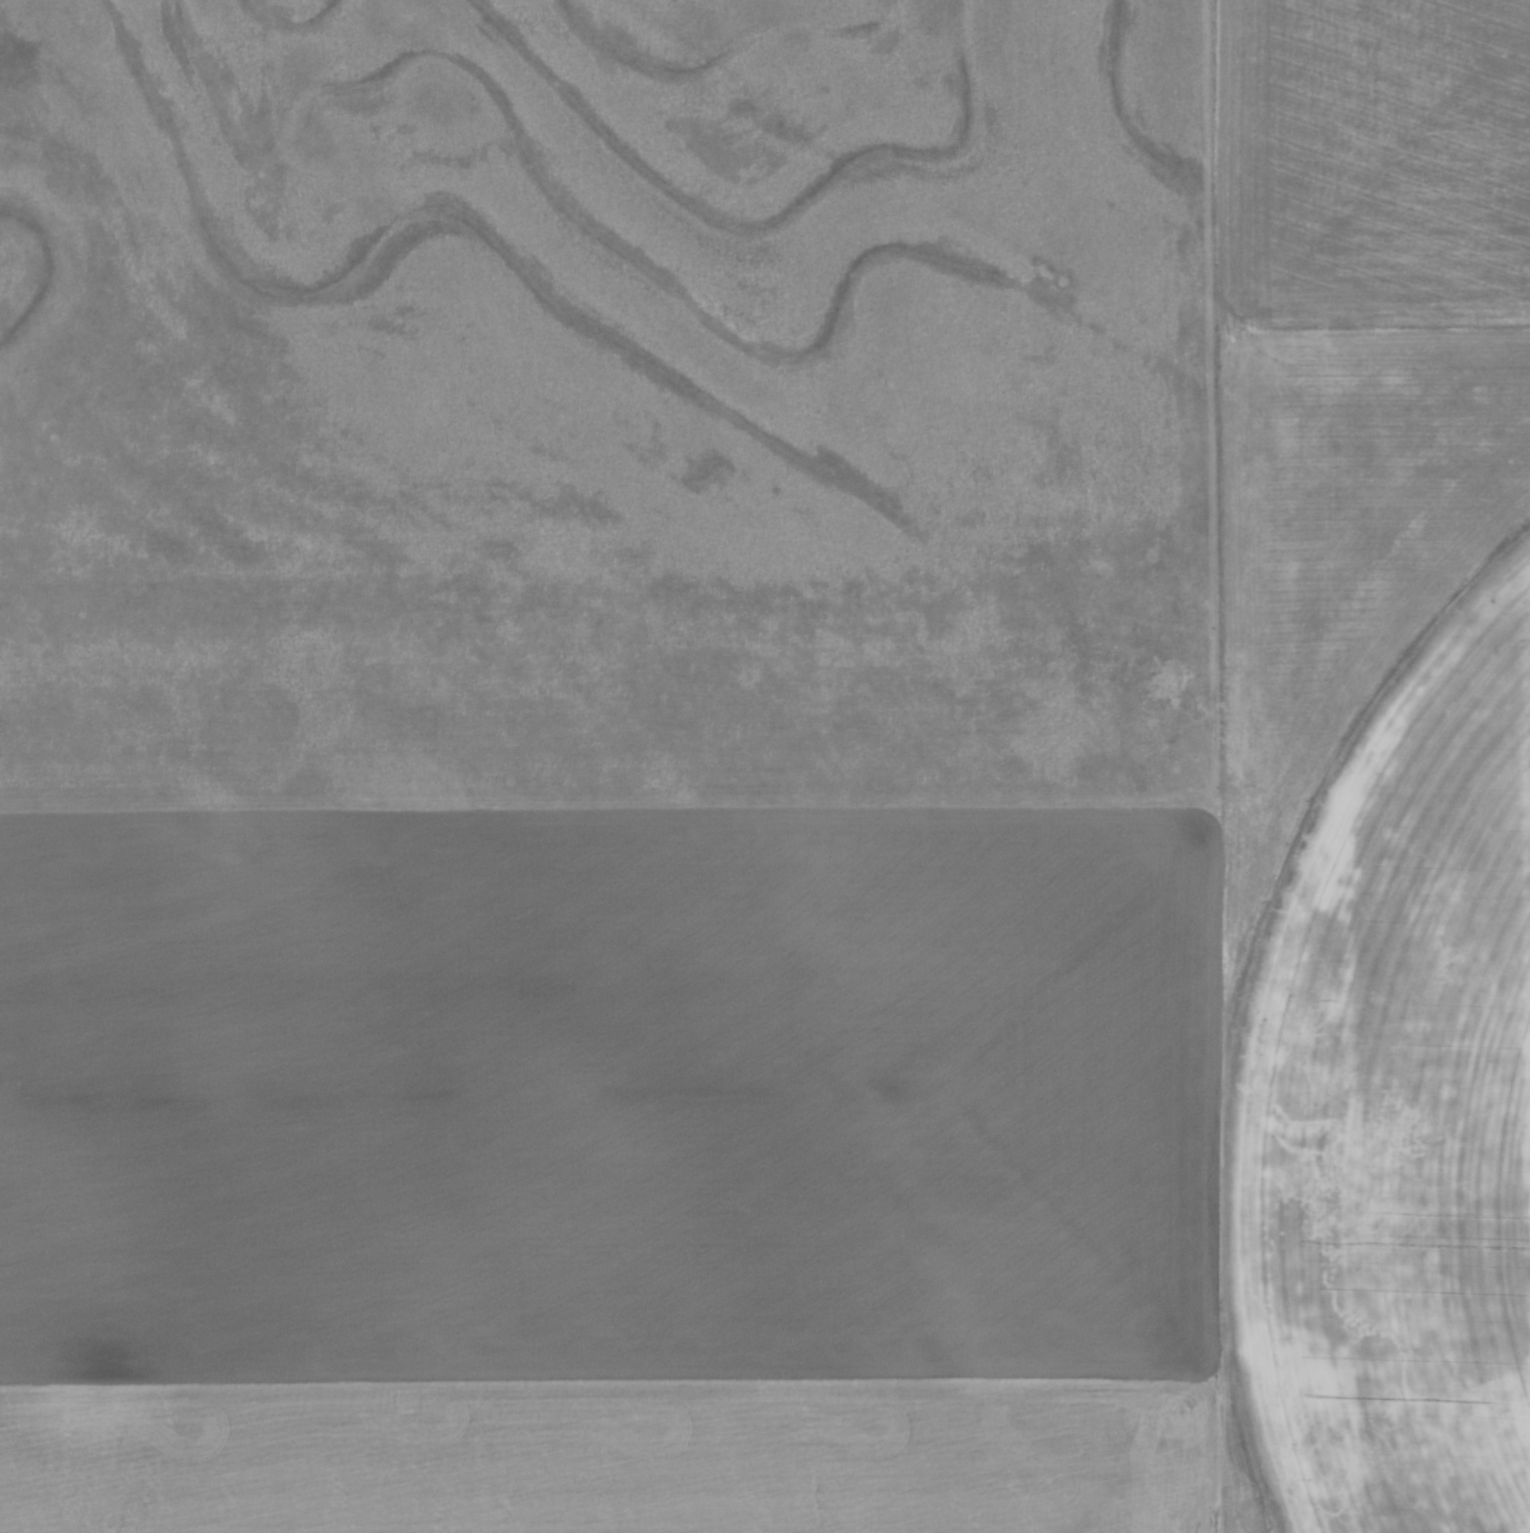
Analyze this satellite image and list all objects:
crop: (877, 1027)

